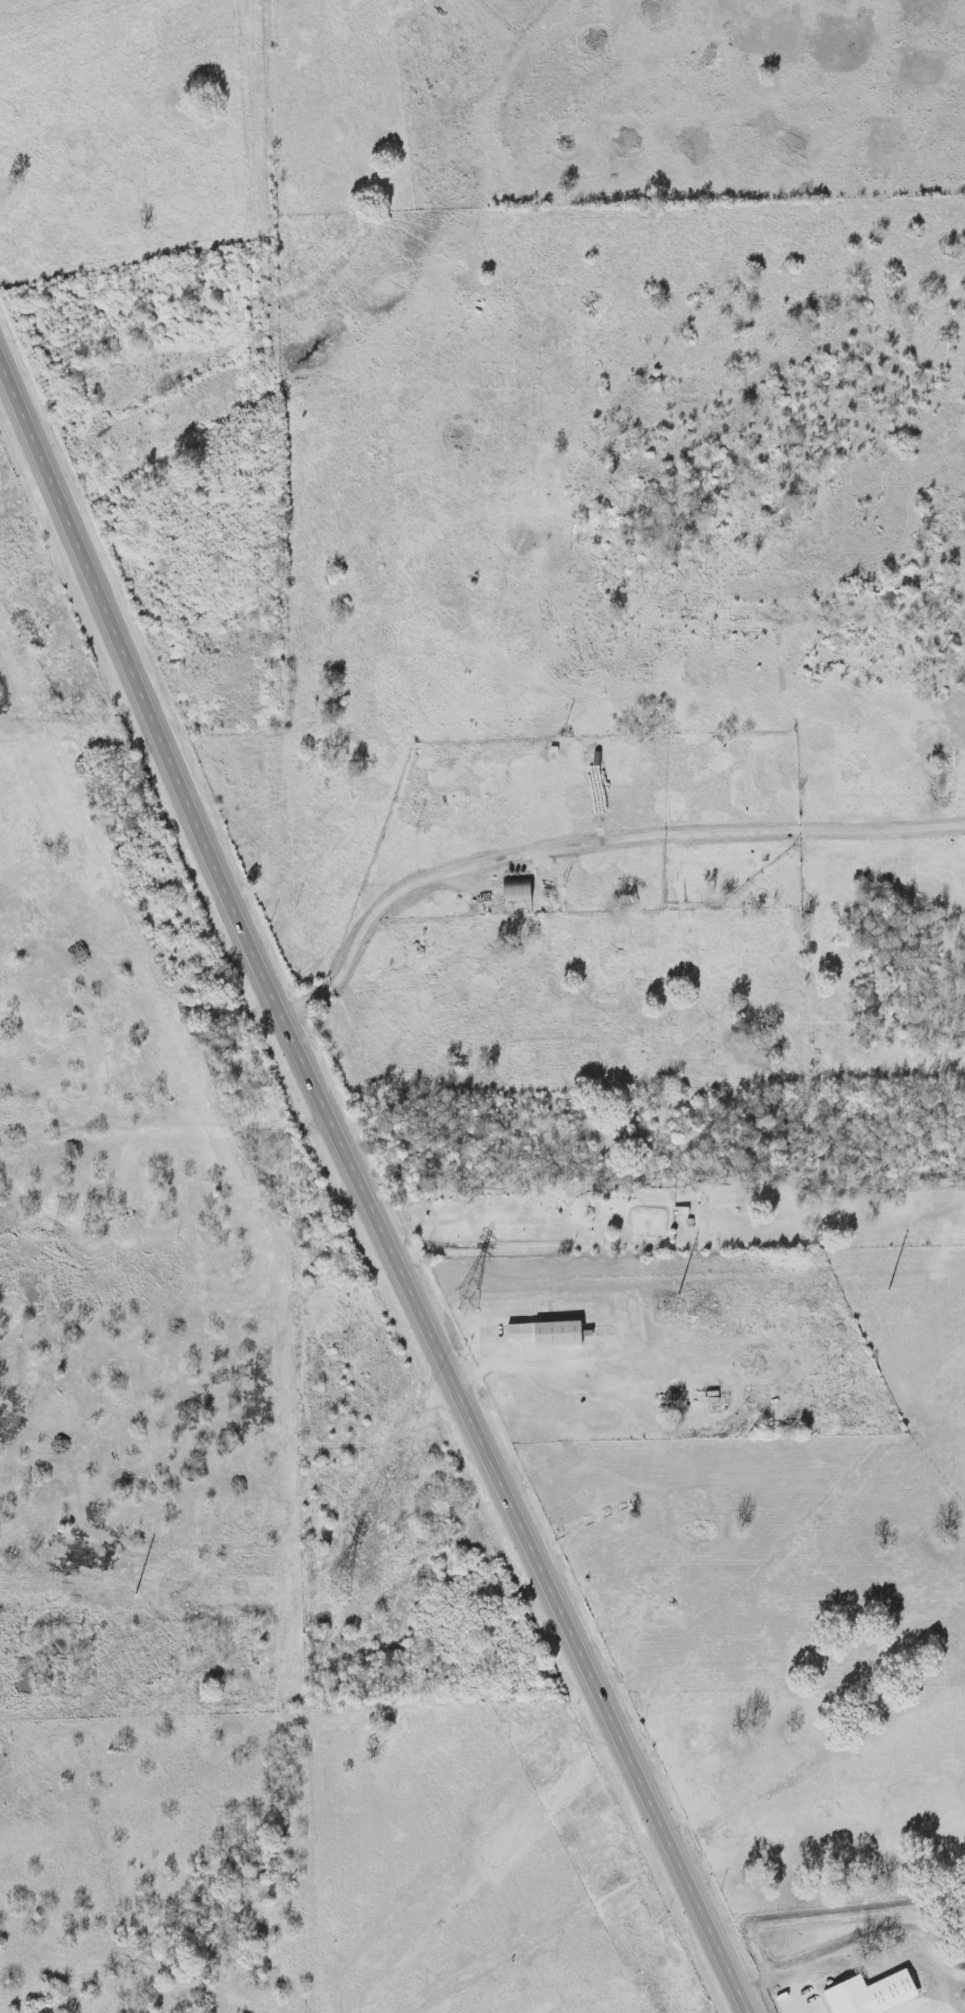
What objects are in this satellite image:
road: (594, 858)
building: (512, 891)
road: (322, 1101)
power tower: (467, 1302)
building: (541, 1333)
road: (515, 1360)
power tower: (340, 1588)
road: (710, 1926)

